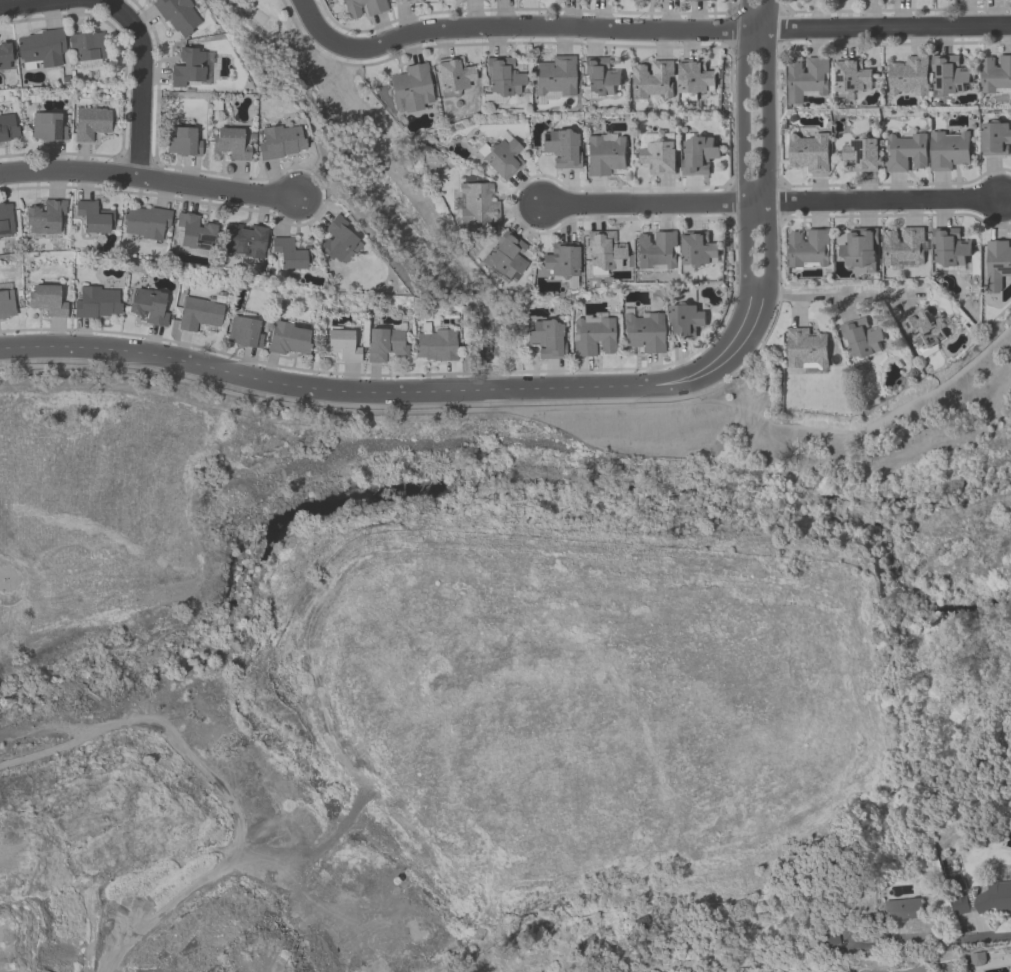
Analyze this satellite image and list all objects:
building: (698, 0)
road: (99, 2)
building: (407, 2)
road: (29, 3)
building: (363, 8)
building: (180, 17)
road: (318, 28)
road: (677, 30)
building: (42, 48)
building: (87, 49)
building: (7, 58)
building: (194, 69)
building: (995, 74)
building: (851, 75)
building: (909, 75)
building: (949, 75)
building: (455, 76)
building: (553, 76)
building: (600, 76)
building: (694, 77)
building: (807, 78)
building: (653, 79)
road: (139, 85)
building: (412, 87)
building: (91, 125)
building: (9, 129)
building: (48, 129)
building: (995, 138)
building: (280, 143)
building: (183, 144)
building: (231, 146)
building: (561, 149)
building: (948, 149)
building: (905, 151)
building: (809, 152)
building: (861, 154)
building: (604, 155)
building: (698, 155)
building: (659, 156)
building: (501, 158)
road: (148, 180)
road: (745, 184)
road: (769, 193)
road: (768, 201)
building: (476, 204)
building: (94, 219)
building: (6, 221)
building: (46, 221)
building: (146, 223)
building: (194, 236)
building: (244, 242)
building: (338, 242)
building: (903, 246)
building: (808, 247)
building: (949, 247)
building: (860, 248)
building: (655, 249)
building: (697, 249)
building: (602, 251)
building: (289, 256)
building: (504, 258)
building: (997, 259)
building: (560, 260)
road: (838, 293)
building: (48, 298)
building: (98, 303)
building: (7, 305)
building: (150, 306)
building: (200, 315)
building: (684, 320)
building: (924, 328)
building: (643, 332)
building: (245, 334)
building: (592, 336)
building: (861, 337)
building: (291, 339)
building: (546, 339)
building: (386, 344)
building: (343, 345)
building: (435, 346)
building: (805, 347)
road: (710, 367)
road: (351, 391)
road: (523, 409)
building: (995, 898)
building: (961, 905)
building: (905, 910)
road: (936, 943)

